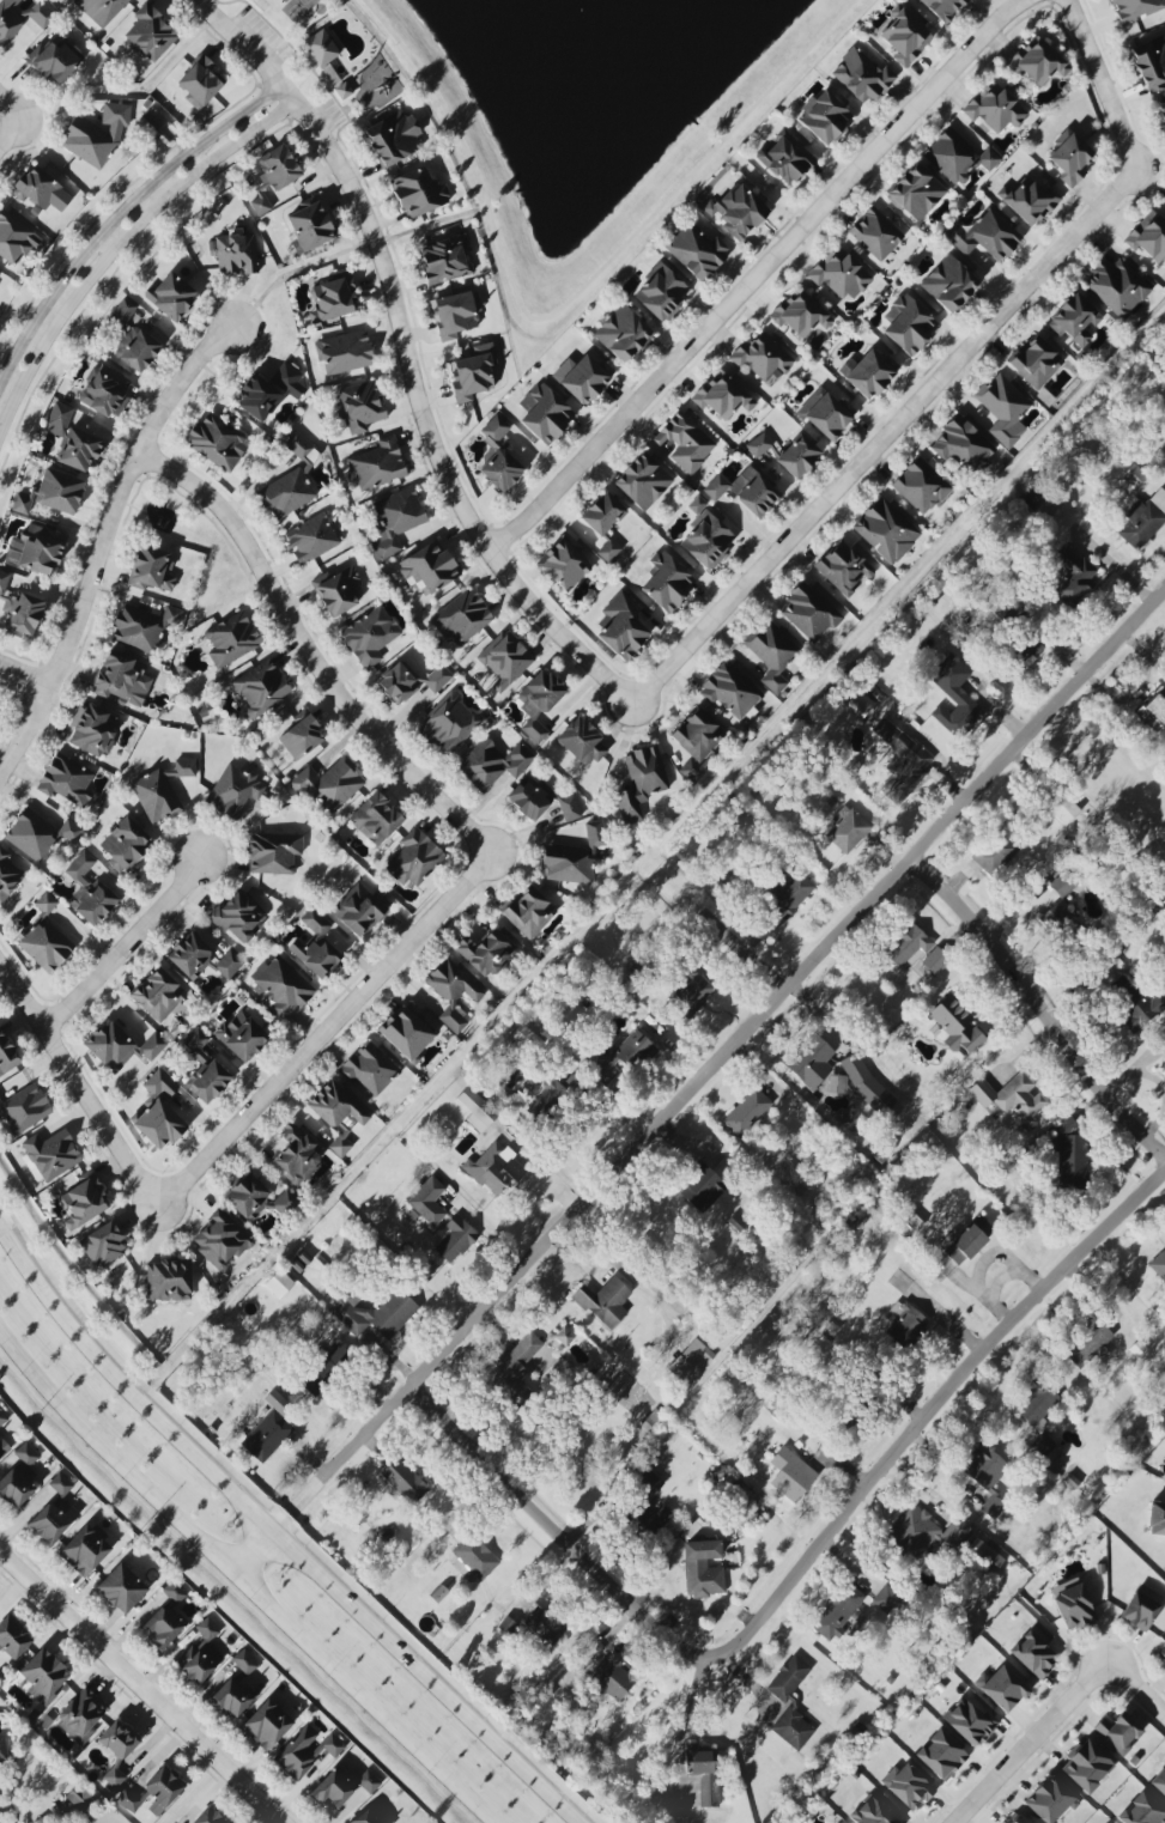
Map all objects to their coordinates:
park: (265, 4)
building: (945, 8)
building: (1136, 8)
building: (101, 10)
building: (22, 18)
building: (151, 34)
building: (905, 37)
parking lot: (260, 38)
road: (293, 45)
building: (321, 48)
building: (56, 60)
building: (1038, 62)
building: (1151, 63)
building: (861, 77)
building: (199, 83)
building: (344, 90)
road: (438, 95)
road: (1109, 95)
road: (6, 103)
building: (995, 108)
building: (1161, 111)
parking lot: (328, 117)
building: (824, 117)
road: (348, 123)
road: (8, 130)
building: (96, 135)
building: (393, 138)
building: (957, 157)
building: (1070, 157)
building: (785, 159)
building: (273, 177)
building: (42, 190)
building: (916, 192)
building: (418, 193)
building: (1029, 201)
road: (656, 212)
building: (736, 212)
road: (121, 218)
building: (309, 227)
building: (876, 233)
building: (984, 236)
building: (1148, 237)
building: (16, 239)
road: (121, 245)
road: (366, 247)
building: (697, 251)
building: (235, 254)
building: (445, 260)
road: (758, 275)
building: (839, 275)
building: (949, 284)
building: (1116, 287)
building: (661, 293)
building: (171, 296)
building: (334, 298)
building: (456, 314)
building: (800, 314)
building: (1074, 321)
building: (908, 324)
building: (621, 334)
building: (132, 340)
road: (407, 348)
building: (345, 353)
building: (763, 357)
building: (1036, 363)
building: (472, 372)
building: (868, 372)
building: (289, 379)
building: (585, 379)
building: (105, 391)
building: (722, 396)
building: (1044, 397)
building: (257, 399)
building: (362, 406)
building: (1003, 408)
building: (545, 413)
building: (825, 414)
building: (494, 430)
building: (72, 439)
building: (217, 442)
building: (685, 442)
building: (758, 445)
building: (963, 445)
road: (876, 448)
building: (302, 451)
building: (797, 456)
building: (378, 464)
building: (1163, 464)
building: (500, 470)
building: (643, 481)
building: (921, 486)
building: (745, 491)
building: (53, 493)
road: (121, 493)
building: (286, 494)
building: (1038, 506)
building: (602, 514)
building: (395, 521)
building: (1143, 521)
building: (886, 530)
building: (706, 536)
building: (311, 539)
building: (37, 549)
building: (608, 551)
building: (564, 565)
building: (429, 567)
building: (844, 567)
building: (151, 570)
building: (1069, 575)
building: (667, 582)
building: (339, 591)
building: (1008, 607)
building: (20, 609)
building: (809, 612)
building: (462, 618)
building: (142, 627)
building: (621, 627)
building: (370, 636)
building: (231, 639)
road: (308, 651)
building: (771, 654)
building: (1027, 654)
building: (504, 660)
building: (121, 677)
road: (24, 680)
building: (411, 681)
building: (261, 689)
building: (730, 691)
building: (954, 697)
building: (539, 703)
building: (860, 705)
building: (1154, 711)
building: (449, 724)
building: (92, 730)
road: (26, 736)
building: (302, 737)
building: (581, 741)
building: (699, 741)
building: (902, 761)
building: (492, 764)
building: (67, 780)
building: (641, 783)
building: (329, 785)
building: (162, 791)
building: (233, 791)
building: (529, 800)
building: (569, 808)
building: (1064, 810)
building: (376, 819)
building: (847, 830)
building: (40, 834)
building: (123, 844)
building: (994, 851)
building: (273, 852)
building: (414, 858)
building: (574, 858)
building: (8, 876)
building: (1063, 883)
building: (90, 892)
building: (785, 897)
building: (45, 903)
building: (359, 910)
building: (529, 912)
building: (238, 917)
building: (1056, 917)
road: (734, 943)
building: (906, 944)
building: (45, 946)
building: (315, 946)
road: (127, 950)
building: (486, 953)
building: (202, 959)
building: (935, 960)
building: (281, 986)
building: (693, 988)
building: (454, 991)
building: (158, 995)
building: (1137, 1008)
road: (1037, 1010)
building: (957, 1027)
building: (242, 1037)
road: (323, 1037)
building: (528, 1038)
building: (1161, 1038)
building: (120, 1046)
building: (7, 1056)
building: (620, 1057)
building: (809, 1061)
building: (1163, 1068)
building: (369, 1069)
building: (205, 1070)
road: (72, 1072)
road: (698, 1080)
building: (160, 1083)
building: (866, 1084)
building: (837, 1086)
building: (1012, 1098)
building: (548, 1100)
building: (335, 1106)
building: (24, 1110)
building: (477, 1110)
building: (747, 1112)
building: (159, 1124)
building: (340, 1147)
building: (51, 1154)
building: (296, 1155)
building: (1070, 1155)
building: (494, 1168)
building: (700, 1187)
building: (257, 1199)
building: (84, 1201)
building: (427, 1201)
building: (220, 1239)
building: (455, 1239)
building: (966, 1240)
building: (103, 1245)
building: (1159, 1265)
building: (168, 1281)
building: (279, 1283)
road: (57, 1302)
building: (605, 1302)
building: (374, 1312)
building: (904, 1323)
building: (1088, 1343)
building: (691, 1362)
building: (326, 1371)
building: (514, 1372)
building: (1038, 1402)
building: (278, 1403)
road: (934, 1410)
building: (2, 1418)
building: (267, 1436)
building: (2, 1450)
building: (1046, 1454)
building: (791, 1475)
building: (987, 1476)
building: (19, 1477)
building: (403, 1481)
building: (60, 1484)
building: (643, 1502)
building: (1155, 1519)
building: (51, 1523)
building: (924, 1533)
road: (557, 1535)
building: (85, 1550)
building: (984, 1555)
building: (474, 1557)
building: (703, 1568)
road: (242, 1582)
building: (121, 1588)
building: (174, 1592)
building: (887, 1599)
road: (346, 1600)
building: (1073, 1605)
building: (838, 1611)
building: (1139, 1611)
building: (546, 1625)
building: (163, 1628)
building: (13, 1639)
building: (1161, 1651)
building: (200, 1653)
building: (1033, 1654)
building: (244, 1663)
building: (44, 1676)
building: (613, 1677)
road: (1136, 1687)
building: (1002, 1688)
road: (141, 1690)
building: (232, 1697)
building: (790, 1703)
building: (80, 1716)
building: (969, 1721)
road: (684, 1722)
building: (266, 1725)
building: (1117, 1732)
road: (1030, 1740)
building: (117, 1749)
building: (305, 1751)
building: (941, 1755)
building: (1086, 1767)
building: (703, 1772)
building: (1159, 1782)
building: (341, 1787)
building: (910, 1787)
building: (153, 1793)
building: (78, 1797)
building: (1050, 1800)
building: (1141, 1811)
building: (200, 1822)

